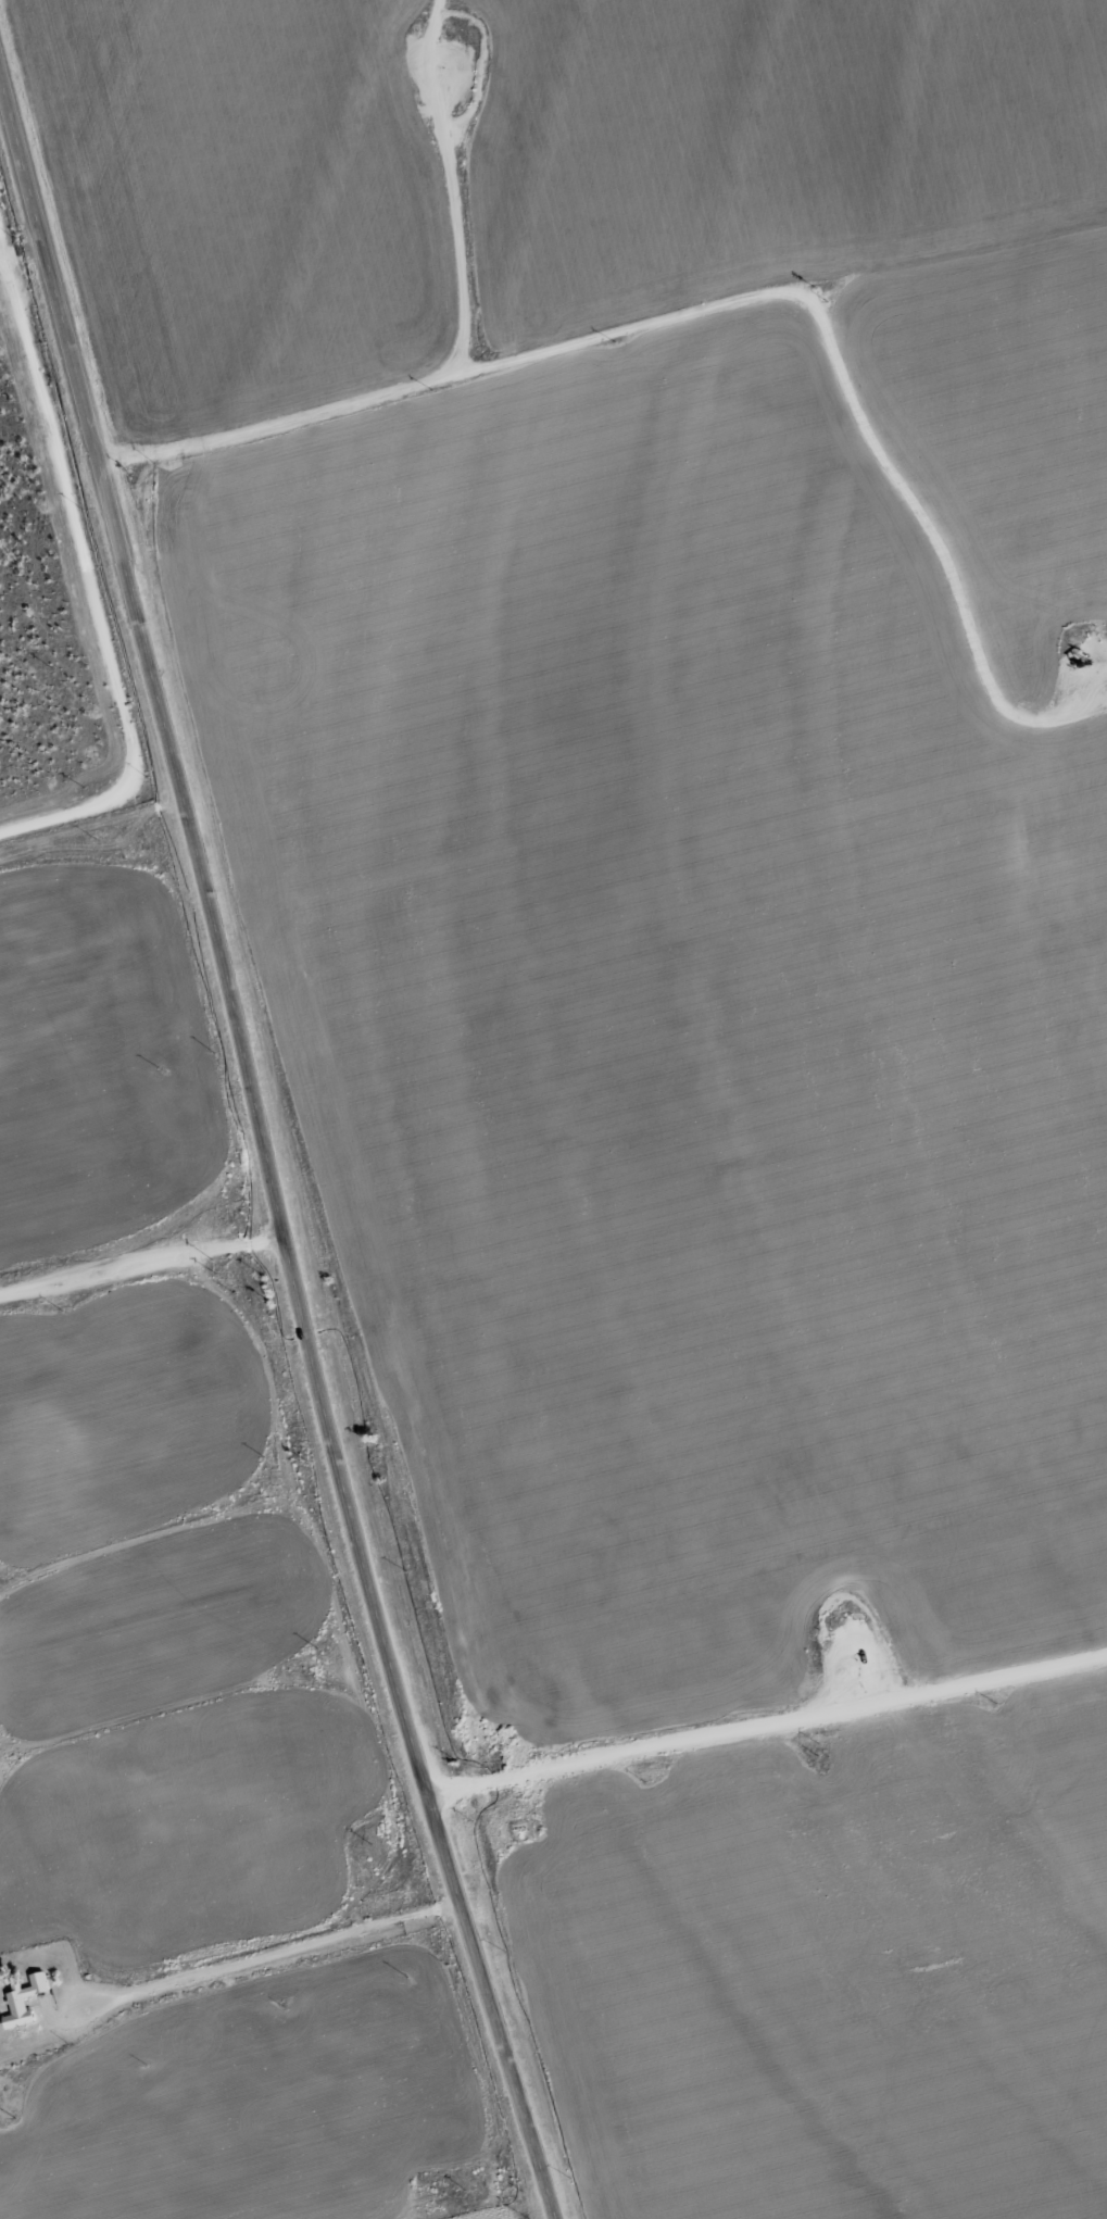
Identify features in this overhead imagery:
road: (266, 1153)
road: (768, 1725)
road: (274, 1954)
building: (18, 2002)

